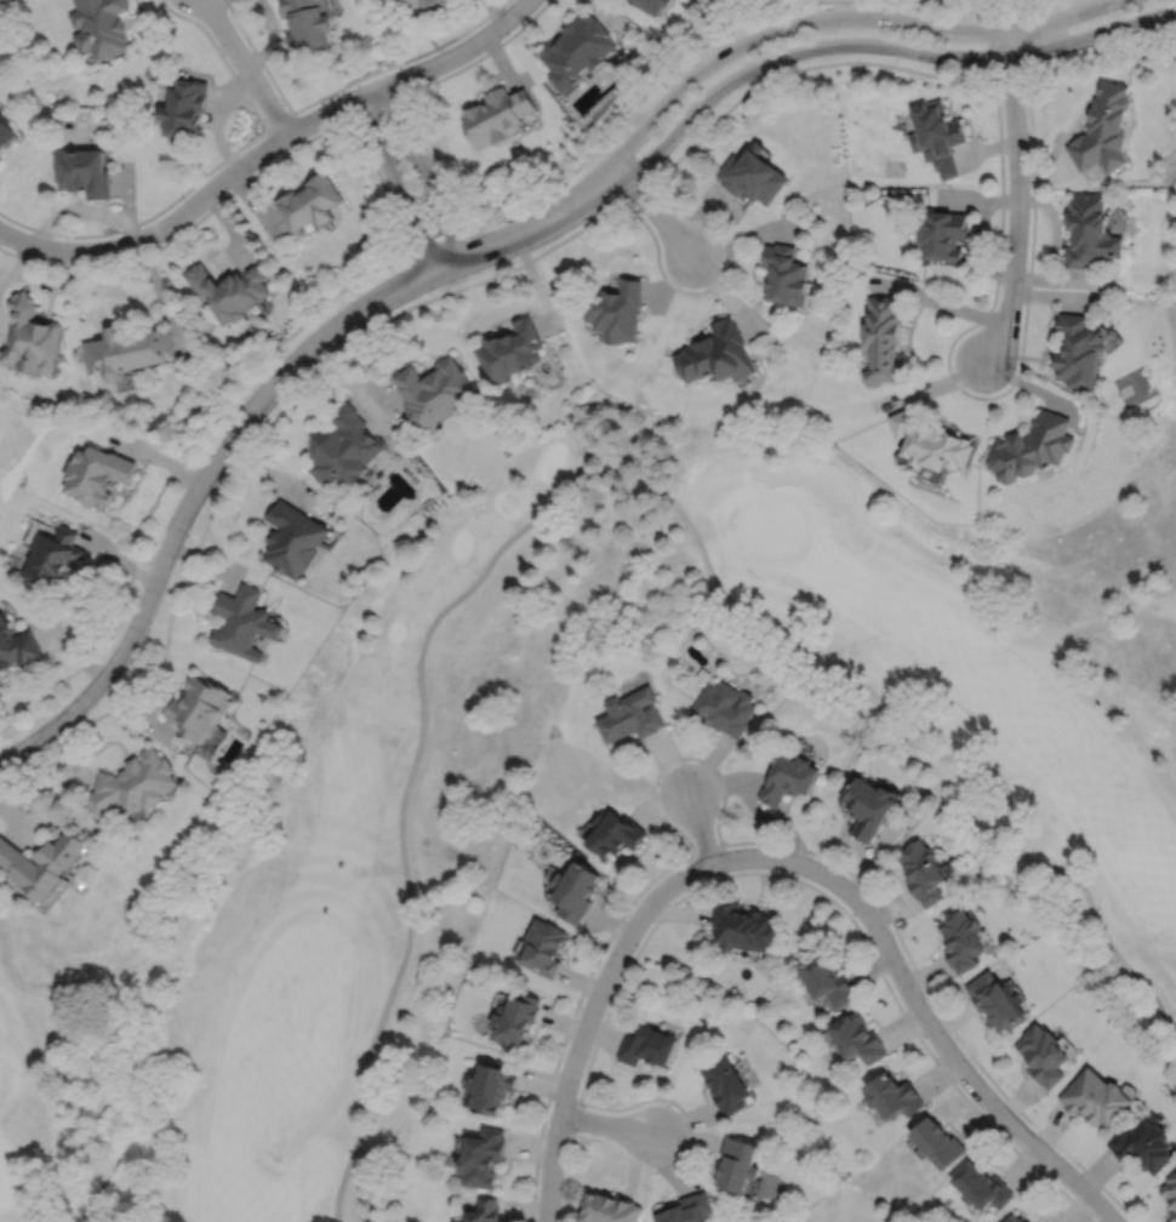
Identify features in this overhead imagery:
building: (403, 0)
park: (1084, 0)
building: (423, 2)
road: (1037, 4)
building: (650, 5)
street lamp: (849, 7)
road: (977, 11)
road: (837, 18)
building: (308, 22)
building: (99, 25)
road: (1034, 36)
road: (879, 44)
building: (576, 47)
road: (449, 57)
street lamp: (794, 63)
road: (889, 64)
street lamp: (986, 65)
road: (245, 67)
road: (658, 81)
road: (341, 86)
building: (184, 104)
building: (496, 114)
road: (279, 120)
building: (1103, 127)
building: (6, 131)
building: (936, 133)
building: (0, 155)
road: (278, 156)
road: (436, 161)
road: (212, 169)
road: (423, 169)
building: (82, 170)
street lamp: (649, 173)
building: (753, 173)
street lamp: (1005, 177)
road: (396, 181)
road: (383, 187)
road: (1017, 196)
building: (312, 200)
road: (189, 207)
road: (655, 211)
building: (1091, 230)
building: (942, 233)
street lamp: (723, 240)
road: (439, 242)
street lamp: (531, 250)
park: (1170, 258)
building: (786, 273)
road: (715, 282)
building: (230, 289)
building: (616, 309)
building: (32, 336)
building: (883, 337)
building: (1079, 348)
building: (127, 349)
building: (509, 349)
street lamp: (332, 352)
building: (717, 353)
street lamp: (1016, 371)
park: (1135, 384)
building: (433, 390)
street lamp: (241, 395)
road: (975, 395)
road: (251, 407)
park: (16, 432)
road: (259, 433)
building: (927, 442)
building: (1032, 446)
building: (344, 449)
road: (603, 452)
road: (176, 470)
building: (97, 474)
building: (295, 538)
street lamp: (188, 539)
building: (53, 556)
building: (245, 623)
building: (18, 646)
street lamp: (109, 649)
building: (703, 675)
building: (200, 709)
building: (725, 709)
building: (630, 716)
street lamp: (32, 756)
road: (677, 759)
building: (789, 781)
building: (133, 786)
building: (869, 809)
road: (700, 827)
building: (616, 834)
street lamp: (693, 845)
road: (790, 845)
park: (343, 852)
street lamp: (812, 855)
building: (44, 862)
building: (926, 872)
road: (788, 876)
building: (575, 887)
street lamp: (636, 902)
building: (743, 925)
street lamp: (894, 933)
building: (961, 937)
building: (543, 946)
road: (605, 976)
building: (829, 980)
building: (994, 998)
street lamp: (581, 1005)
building: (515, 1016)
building: (860, 1037)
building: (647, 1044)
road: (947, 1050)
building: (1043, 1053)
street lamp: (975, 1064)
building: (727, 1083)
building: (492, 1084)
building: (894, 1095)
building: (1095, 1096)
road: (607, 1125)
street lamp: (577, 1131)
building: (938, 1141)
road: (689, 1142)
building: (1143, 1144)
building: (483, 1157)
building: (738, 1163)
street lamp: (651, 1167)
street lamp: (1078, 1167)
building: (981, 1184)
building: (1170, 1187)
building: (610, 1207)
building: (686, 1209)
building: (485, 1211)
building: (1174, 1211)
building: (1014, 1218)
building: (1029, 1221)

